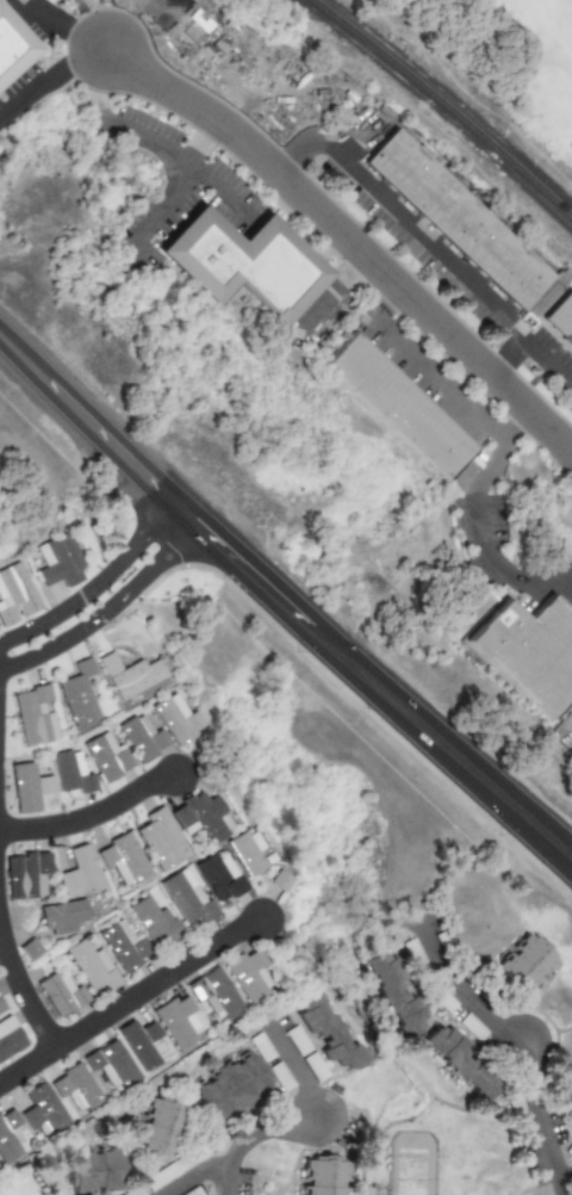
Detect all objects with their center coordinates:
road: (94, 24)
building: (11, 44)
park: (508, 54)
road: (49, 78)
railway: (444, 104)
road: (155, 140)
road: (179, 190)
road: (394, 205)
building: (462, 221)
road: (348, 241)
building: (245, 261)
road: (331, 295)
road: (336, 295)
building: (562, 318)
road: (530, 342)
road: (429, 367)
road: (541, 377)
street lamp: (7, 392)
building: (396, 404)
street lamp: (87, 466)
road: (481, 522)
building: (57, 561)
road: (95, 582)
street lamp: (204, 587)
building: (14, 594)
road: (281, 603)
road: (110, 618)
building: (529, 651)
street lamp: (294, 652)
building: (129, 674)
building: (150, 688)
building: (77, 694)
building: (33, 716)
building: (176, 719)
building: (141, 737)
building: (105, 756)
building: (69, 772)
building: (29, 786)
street lamp: (414, 786)
road: (93, 817)
building: (200, 817)
building: (158, 838)
building: (249, 855)
building: (123, 859)
building: (79, 872)
building: (25, 874)
building: (218, 877)
building: (279, 880)
building: (186, 897)
building: (62, 916)
building: (154, 922)
building: (123, 945)
building: (447, 947)
building: (29, 948)
building: (414, 955)
building: (522, 964)
building: (91, 966)
building: (248, 976)
road: (23, 986)
building: (1, 989)
road: (460, 990)
building: (60, 993)
building: (214, 993)
building: (392, 993)
building: (440, 998)
road: (131, 1001)
building: (1, 1007)
building: (178, 1021)
building: (470, 1026)
building: (327, 1032)
building: (8, 1038)
building: (297, 1040)
building: (141, 1044)
parking lot: (495, 1044)
building: (260, 1047)
building: (461, 1060)
building: (570, 1060)
building: (110, 1063)
building: (313, 1066)
road: (299, 1069)
building: (280, 1076)
building: (562, 1082)
building: (74, 1086)
building: (230, 1088)
parking lot: (313, 1104)
building: (41, 1109)
building: (515, 1115)
road: (542, 1121)
building: (160, 1123)
building: (7, 1134)
road: (255, 1138)
building: (567, 1150)
building: (89, 1170)
building: (168, 1170)
park: (410, 1172)
building: (322, 1175)
road: (197, 1178)
road: (570, 1187)
building: (131, 1191)
building: (191, 1191)

